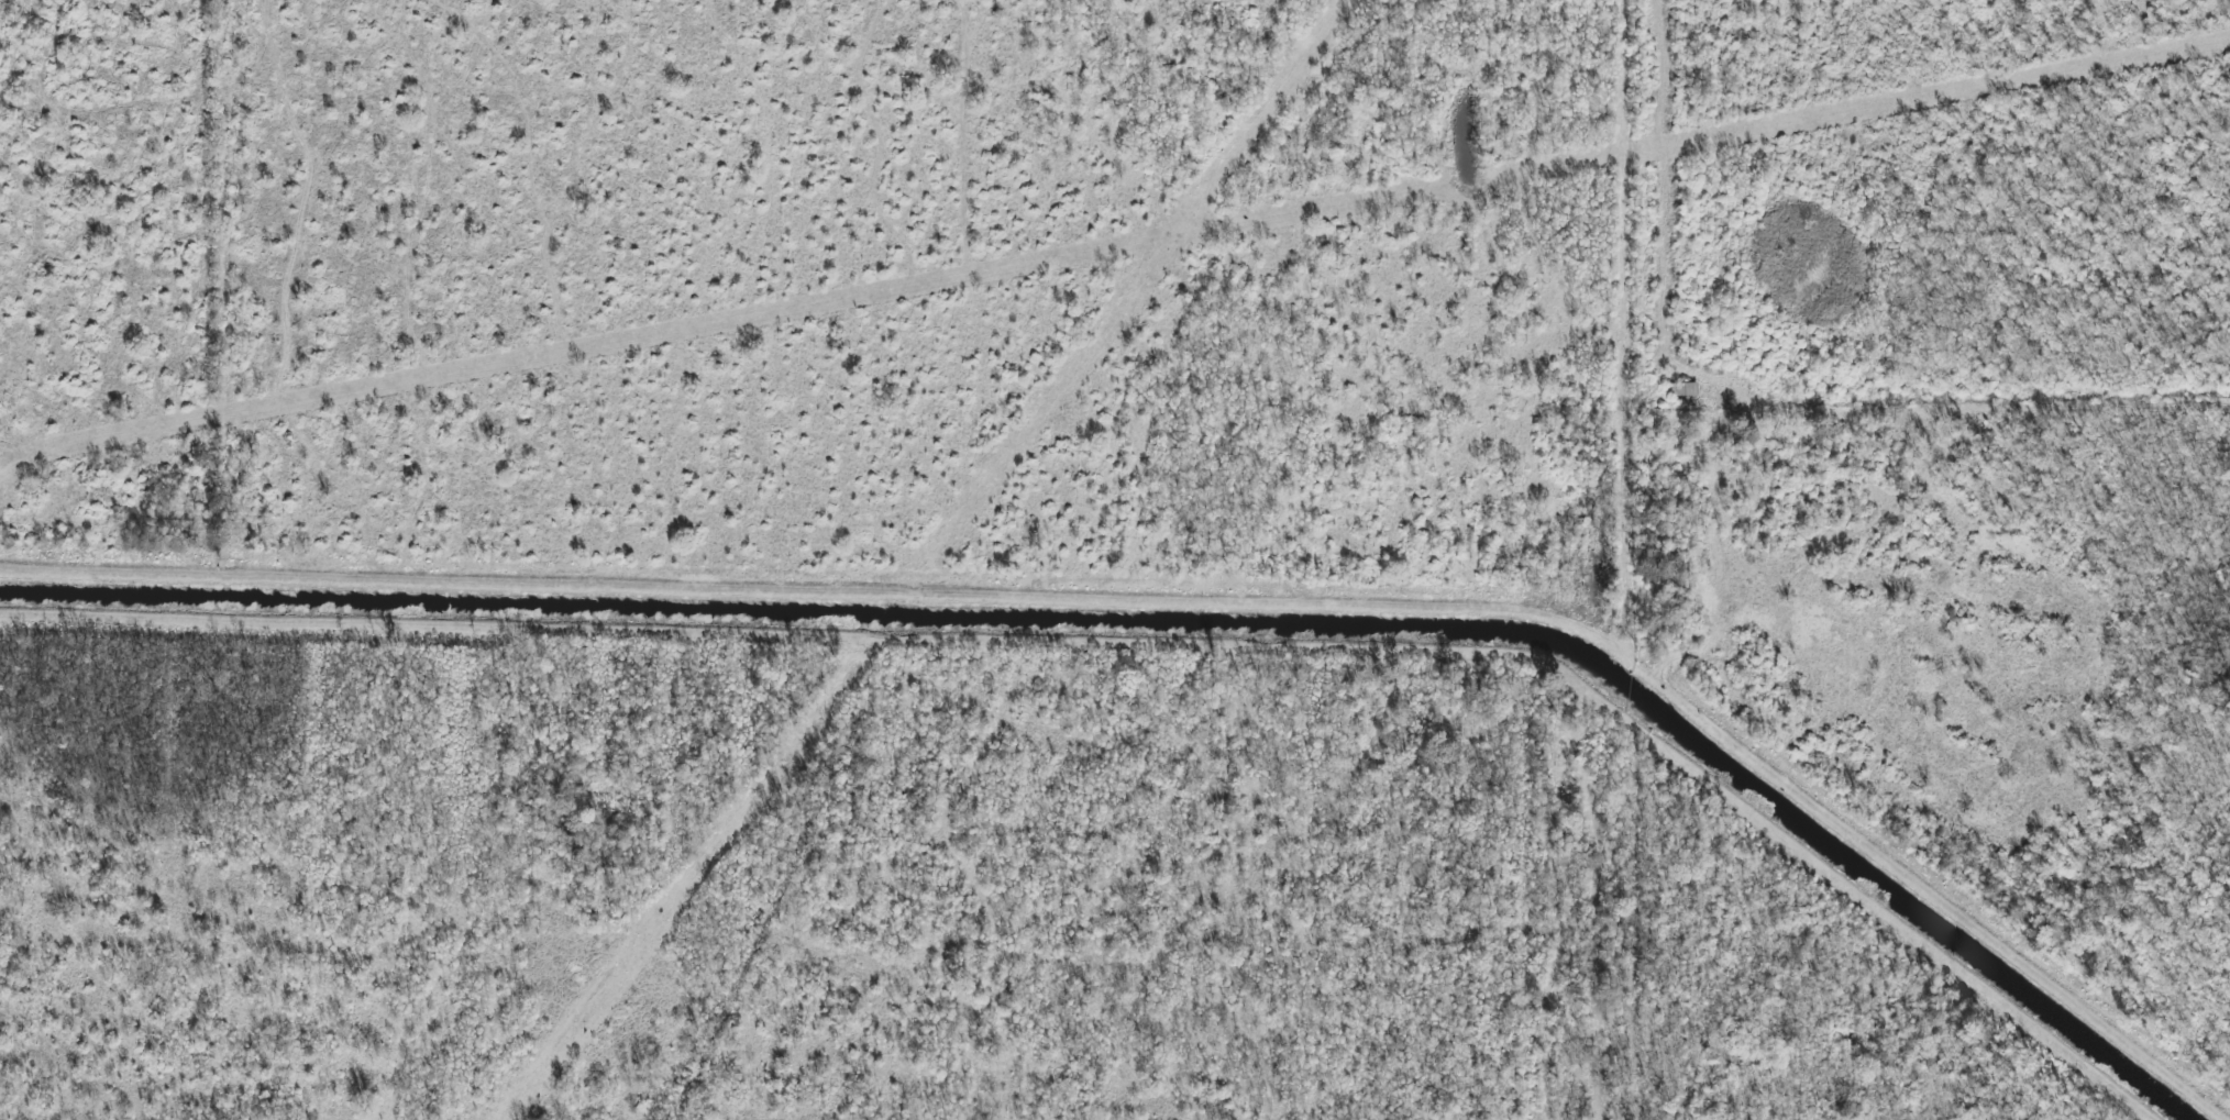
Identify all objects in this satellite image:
road: (1637, 236)
road: (1943, 446)

